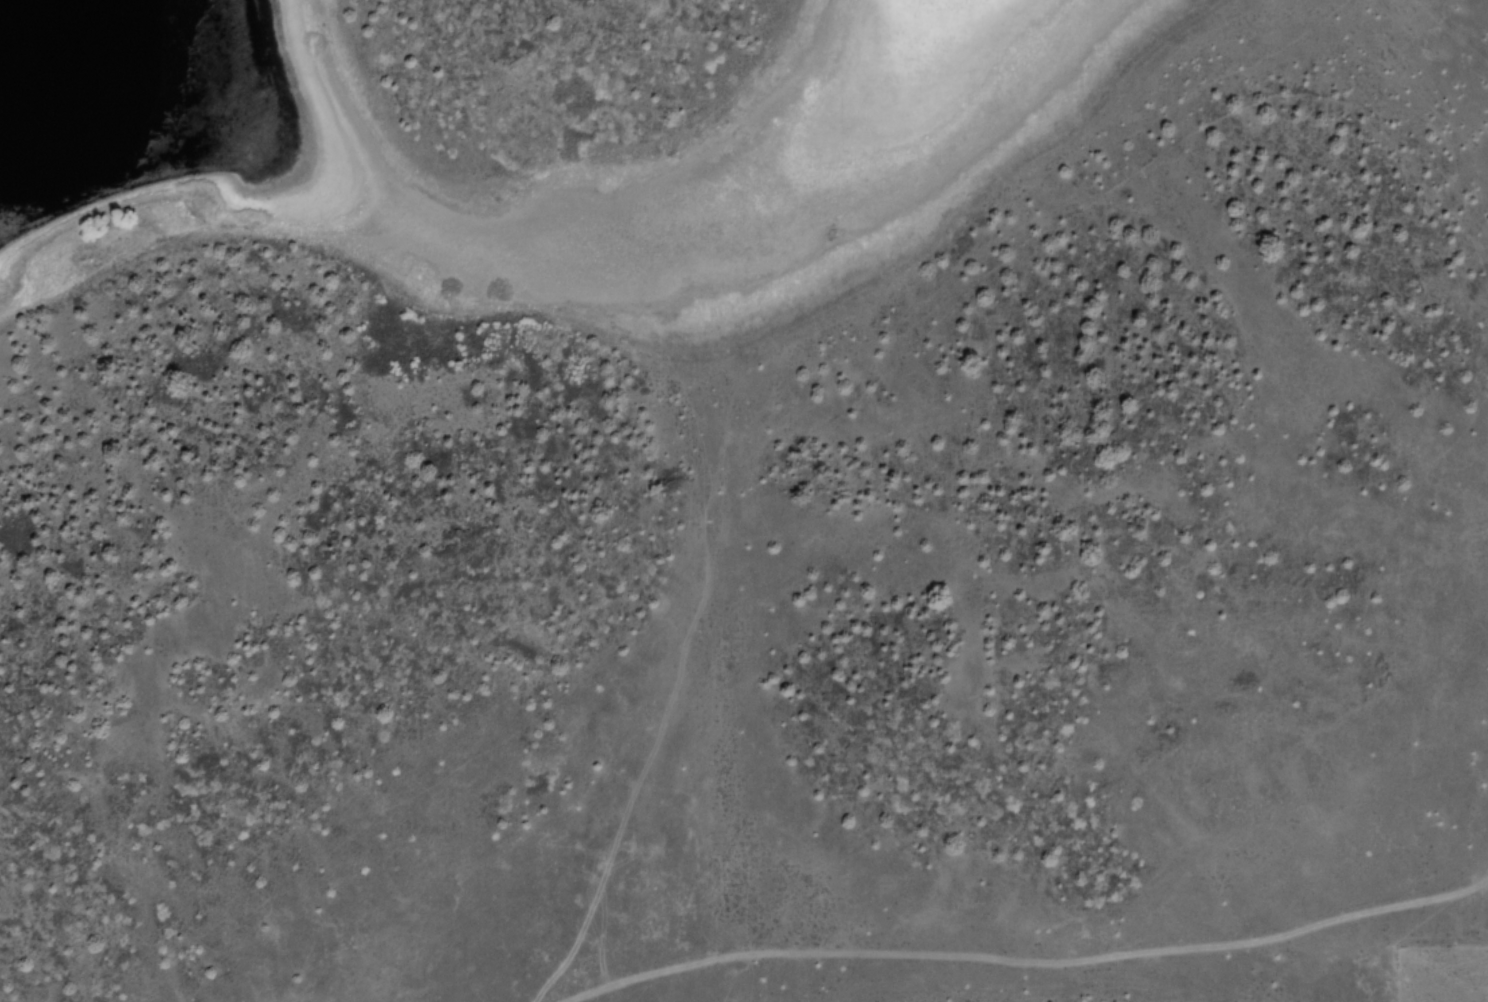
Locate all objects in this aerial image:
road: (1024, 955)

